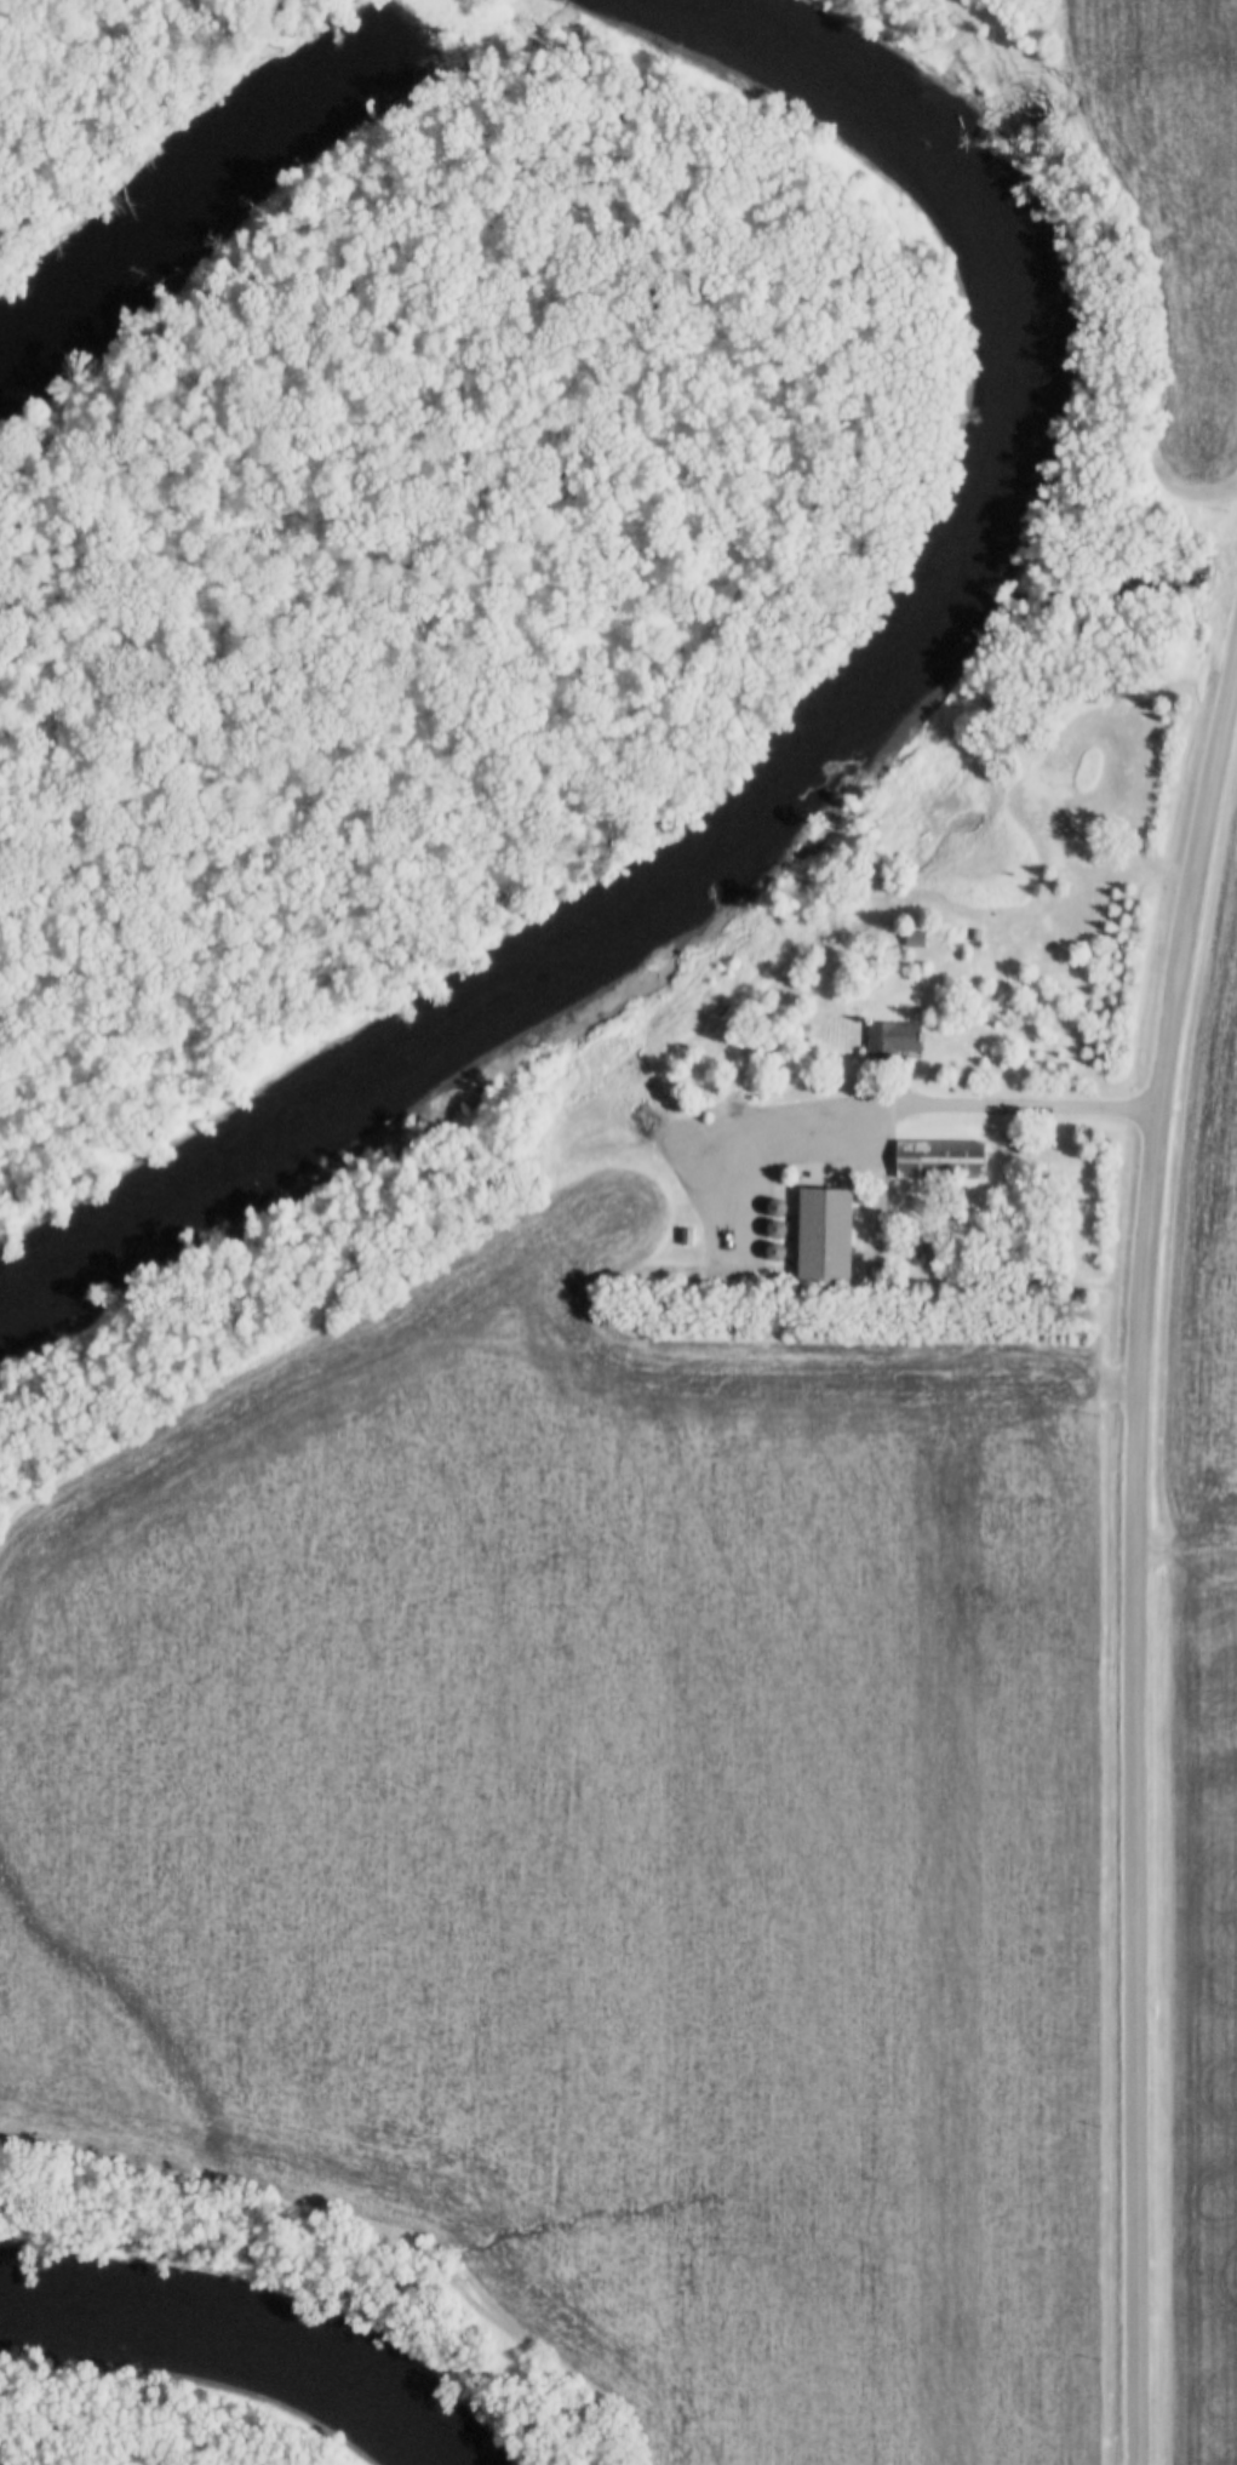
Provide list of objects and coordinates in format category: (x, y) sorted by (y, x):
crop: (1174, 193)
river: (962, 222)
building: (911, 939)
river: (519, 1016)
building: (889, 1040)
road: (977, 1111)
building: (933, 1160)
building: (683, 1236)
building: (817, 1237)
crop: (1207, 1263)
road: (1135, 1549)
crop: (600, 1837)
crop: (1203, 2006)
river: (185, 2374)

